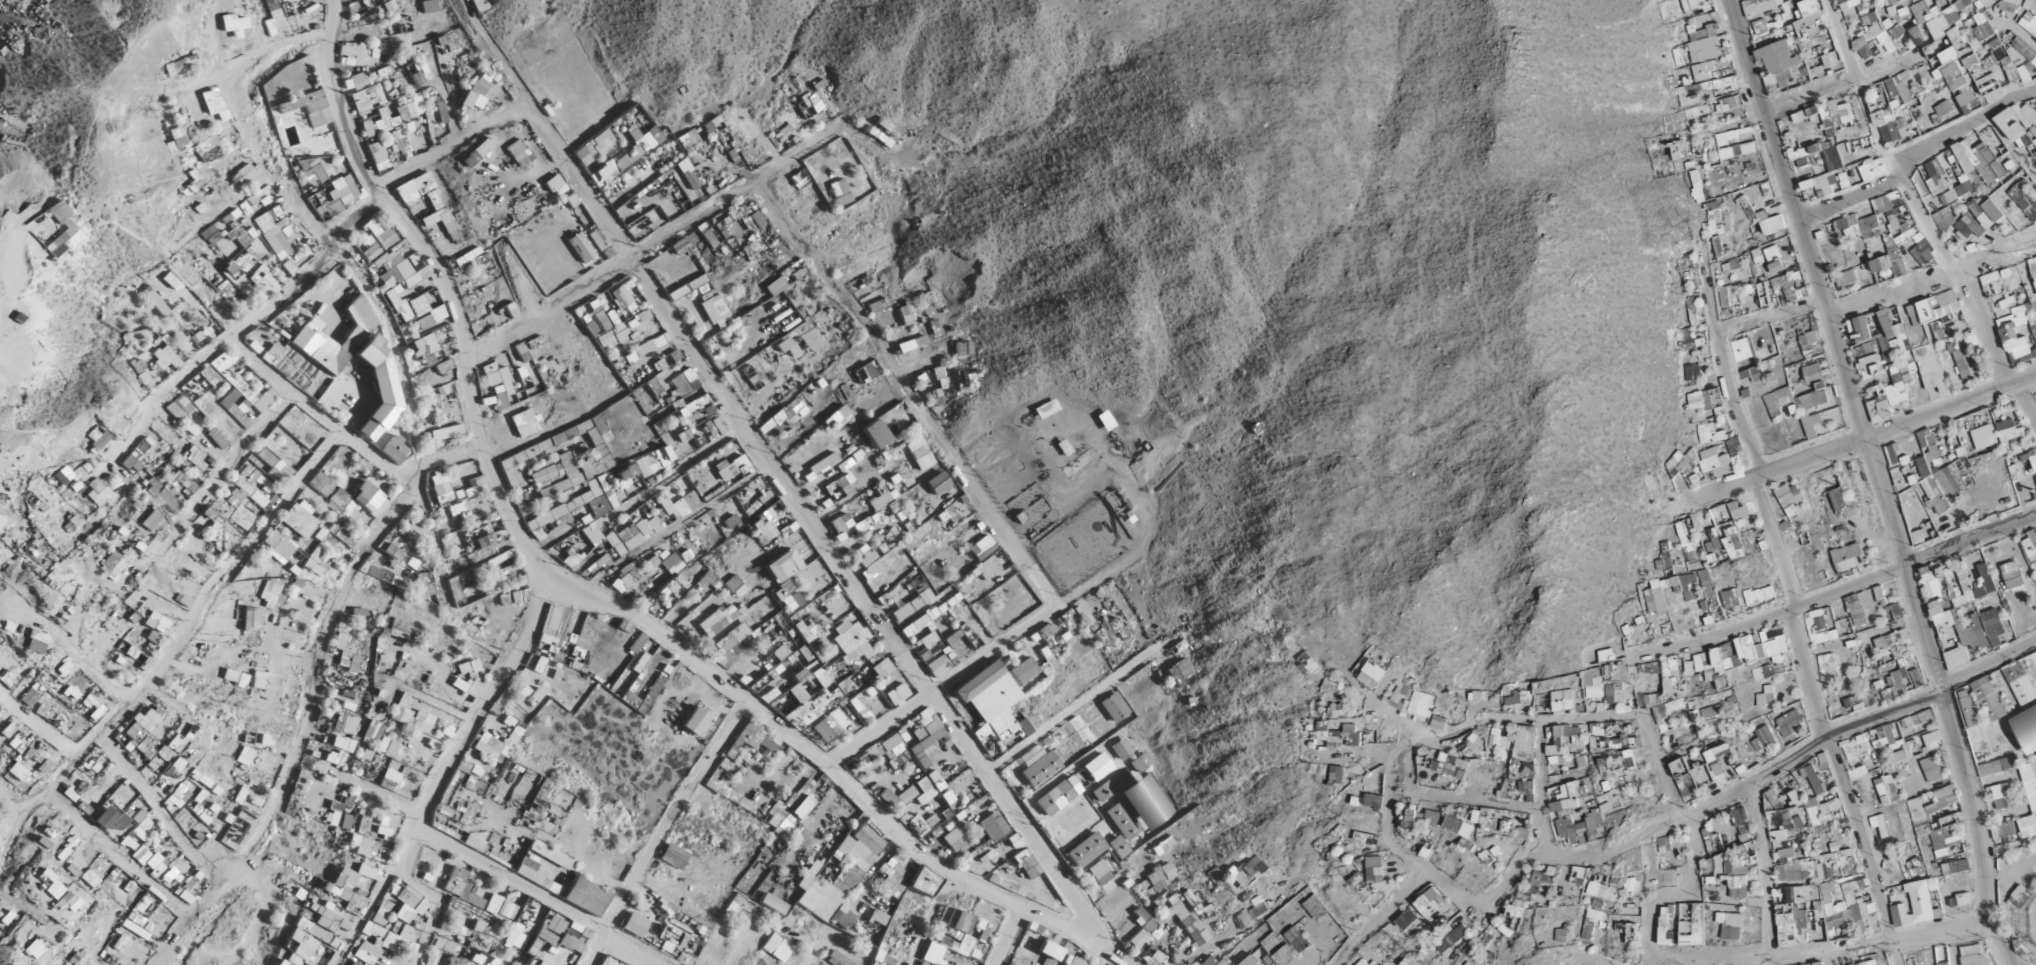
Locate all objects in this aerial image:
park: (2031, 916)

